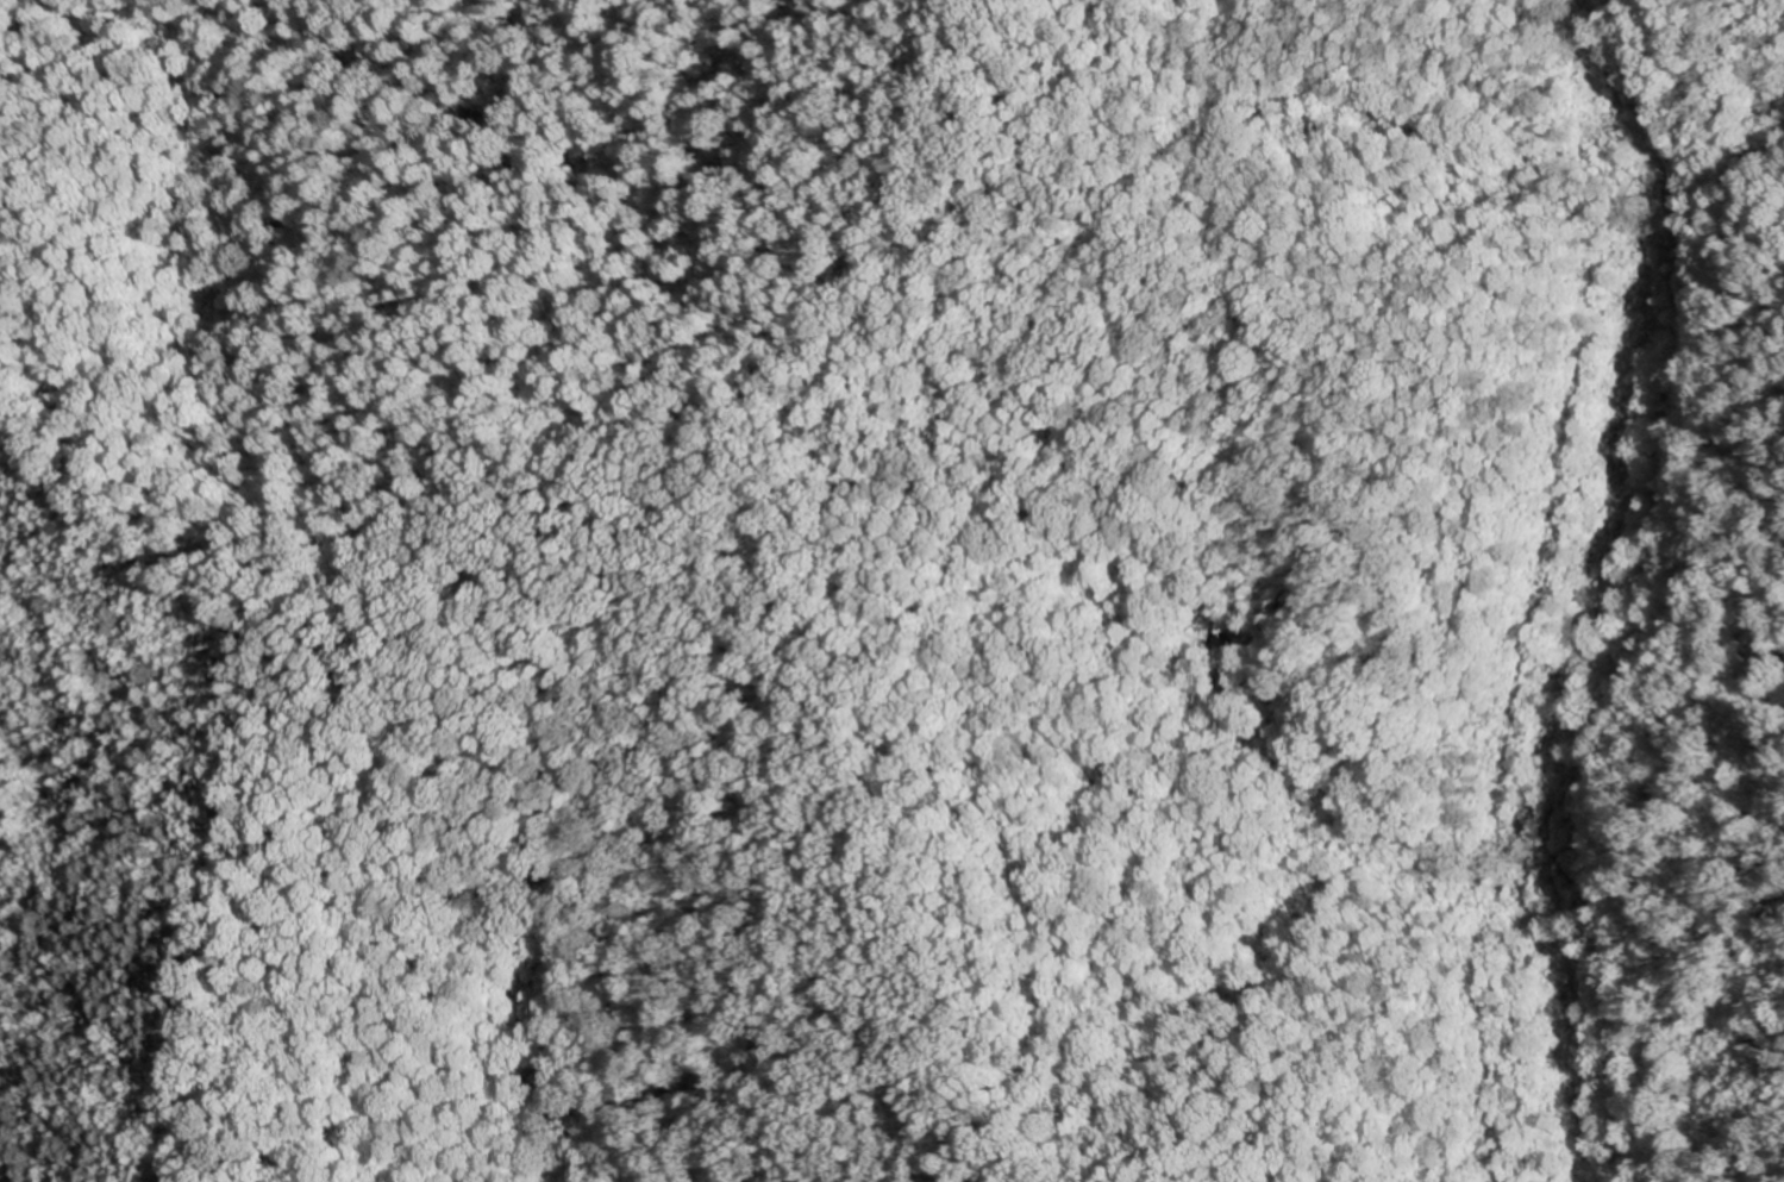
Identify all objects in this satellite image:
road: (1608, 1027)

